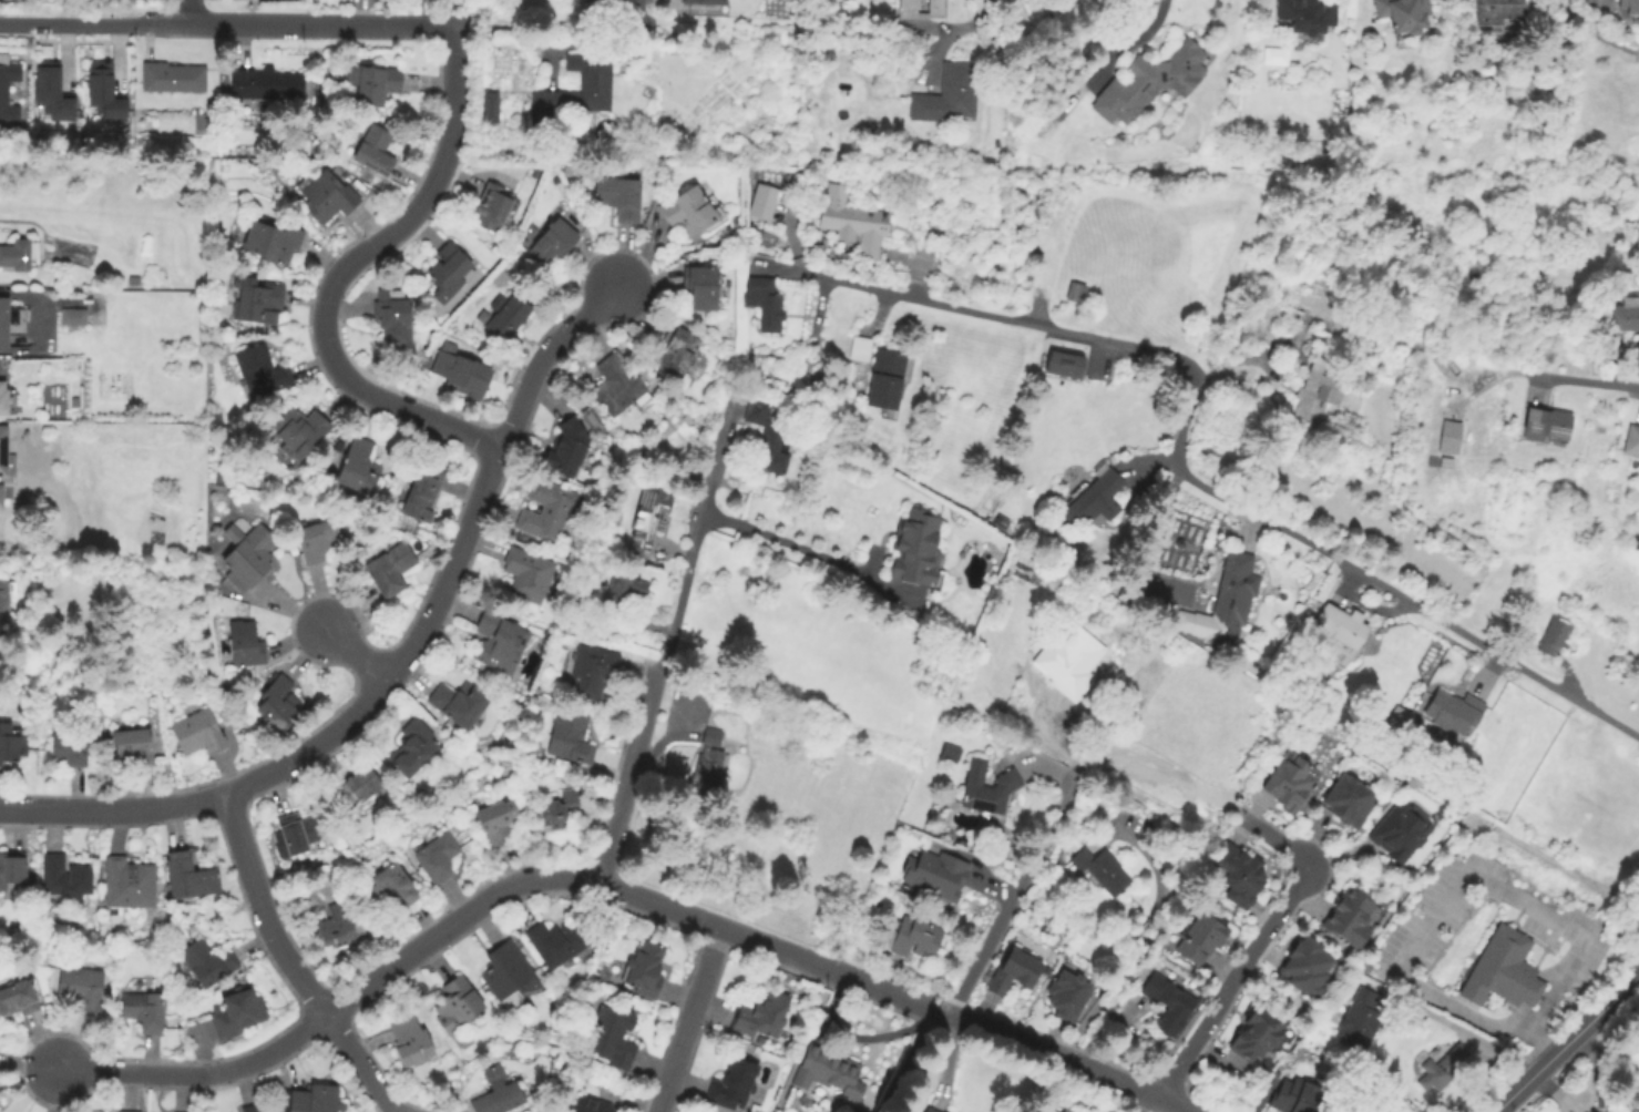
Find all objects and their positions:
building: (700, 1)
building: (910, 3)
building: (690, 6)
building: (1630, 6)
building: (935, 7)
road: (638, 10)
road: (184, 12)
building: (1498, 12)
building: (1308, 14)
building: (1405, 20)
road: (92, 23)
road: (981, 23)
road: (318, 24)
road: (1141, 33)
building: (1435, 33)
building: (173, 79)
building: (595, 81)
building: (373, 83)
building: (266, 85)
building: (1151, 86)
road: (452, 90)
building: (3, 93)
building: (51, 93)
building: (103, 94)
building: (947, 95)
building: (211, 104)
building: (489, 108)
building: (375, 151)
building: (338, 171)
building: (329, 196)
building: (618, 197)
building: (764, 201)
building: (491, 206)
building: (688, 212)
building: (851, 217)
building: (273, 239)
building: (553, 243)
building: (16, 255)
building: (448, 273)
building: (134, 280)
building: (701, 287)
building: (1075, 292)
building: (260, 303)
building: (765, 303)
building: (1318, 307)
building: (505, 316)
building: (73, 317)
building: (1621, 317)
building: (393, 318)
building: (10, 323)
road: (326, 328)
building: (860, 348)
building: (676, 351)
road: (542, 354)
building: (426, 361)
road: (1233, 364)
building: (1066, 365)
building: (262, 371)
building: (462, 375)
building: (885, 379)
building: (617, 384)
road: (1591, 384)
building: (1313, 388)
building: (3, 399)
building: (1548, 426)
building: (299, 432)
building: (768, 435)
building: (1447, 437)
building: (1632, 440)
building: (567, 448)
building: (6, 456)
road: (1179, 461)
building: (359, 468)
building: (422, 493)
building: (0, 496)
building: (1093, 500)
building: (549, 511)
road: (705, 518)
building: (648, 522)
building: (1637, 539)
building: (317, 541)
building: (913, 548)
road: (799, 551)
building: (248, 557)
building: (391, 569)
building: (527, 574)
building: (621, 595)
building: (1233, 598)
building: (4, 600)
building: (546, 636)
building: (1339, 636)
building: (1555, 636)
building: (499, 641)
building: (246, 644)
road: (358, 654)
road: (402, 655)
building: (1076, 659)
building: (592, 673)
building: (458, 703)
building: (278, 705)
building: (1454, 712)
building: (1397, 718)
building: (198, 734)
building: (570, 737)
building: (11, 742)
building: (133, 746)
building: (413, 746)
building: (69, 748)
building: (950, 753)
building: (708, 765)
road: (633, 771)
building: (1291, 781)
building: (987, 787)
building: (356, 789)
building: (1350, 802)
building: (560, 809)
road: (112, 815)
building: (496, 822)
road: (1499, 830)
building: (1401, 832)
building: (299, 833)
road: (1278, 843)
building: (437, 858)
building: (1102, 869)
building: (11, 873)
building: (1242, 875)
road: (1465, 876)
building: (189, 877)
building: (938, 877)
building: (64, 879)
building: (129, 884)
building: (390, 886)
road: (1012, 906)
road: (264, 908)
building: (1352, 918)
road: (454, 920)
building: (335, 927)
building: (913, 937)
building: (1201, 939)
building: (557, 942)
road: (1131, 947)
road: (775, 950)
building: (208, 961)
building: (1309, 962)
building: (1365, 966)
building: (1500, 969)
building: (645, 970)
building: (1015, 970)
road: (1547, 970)
building: (602, 973)
building: (509, 975)
road: (1229, 982)
building: (80, 988)
road: (1530, 990)
building: (1068, 994)
building: (18, 999)
building: (1170, 1003)
building: (458, 1004)
building: (144, 1011)
building: (238, 1013)
building: (762, 1014)
road: (1516, 1014)
road: (692, 1021)
building: (1359, 1021)
building: (1259, 1032)
building: (613, 1037)
road: (1539, 1039)
building: (411, 1041)
road: (1565, 1041)
building: (760, 1042)
road: (1064, 1060)
road: (914, 1061)
road: (360, 1062)
building: (1442, 1069)
building: (829, 1072)
road: (199, 1074)
building: (734, 1084)
building: (498, 1093)
building: (1300, 1098)
building: (315, 1099)
road: (1138, 1103)
building: (593, 1106)
building: (254, 1109)
building: (930, 1109)
building: (1068, 1110)
building: (945, 1111)

